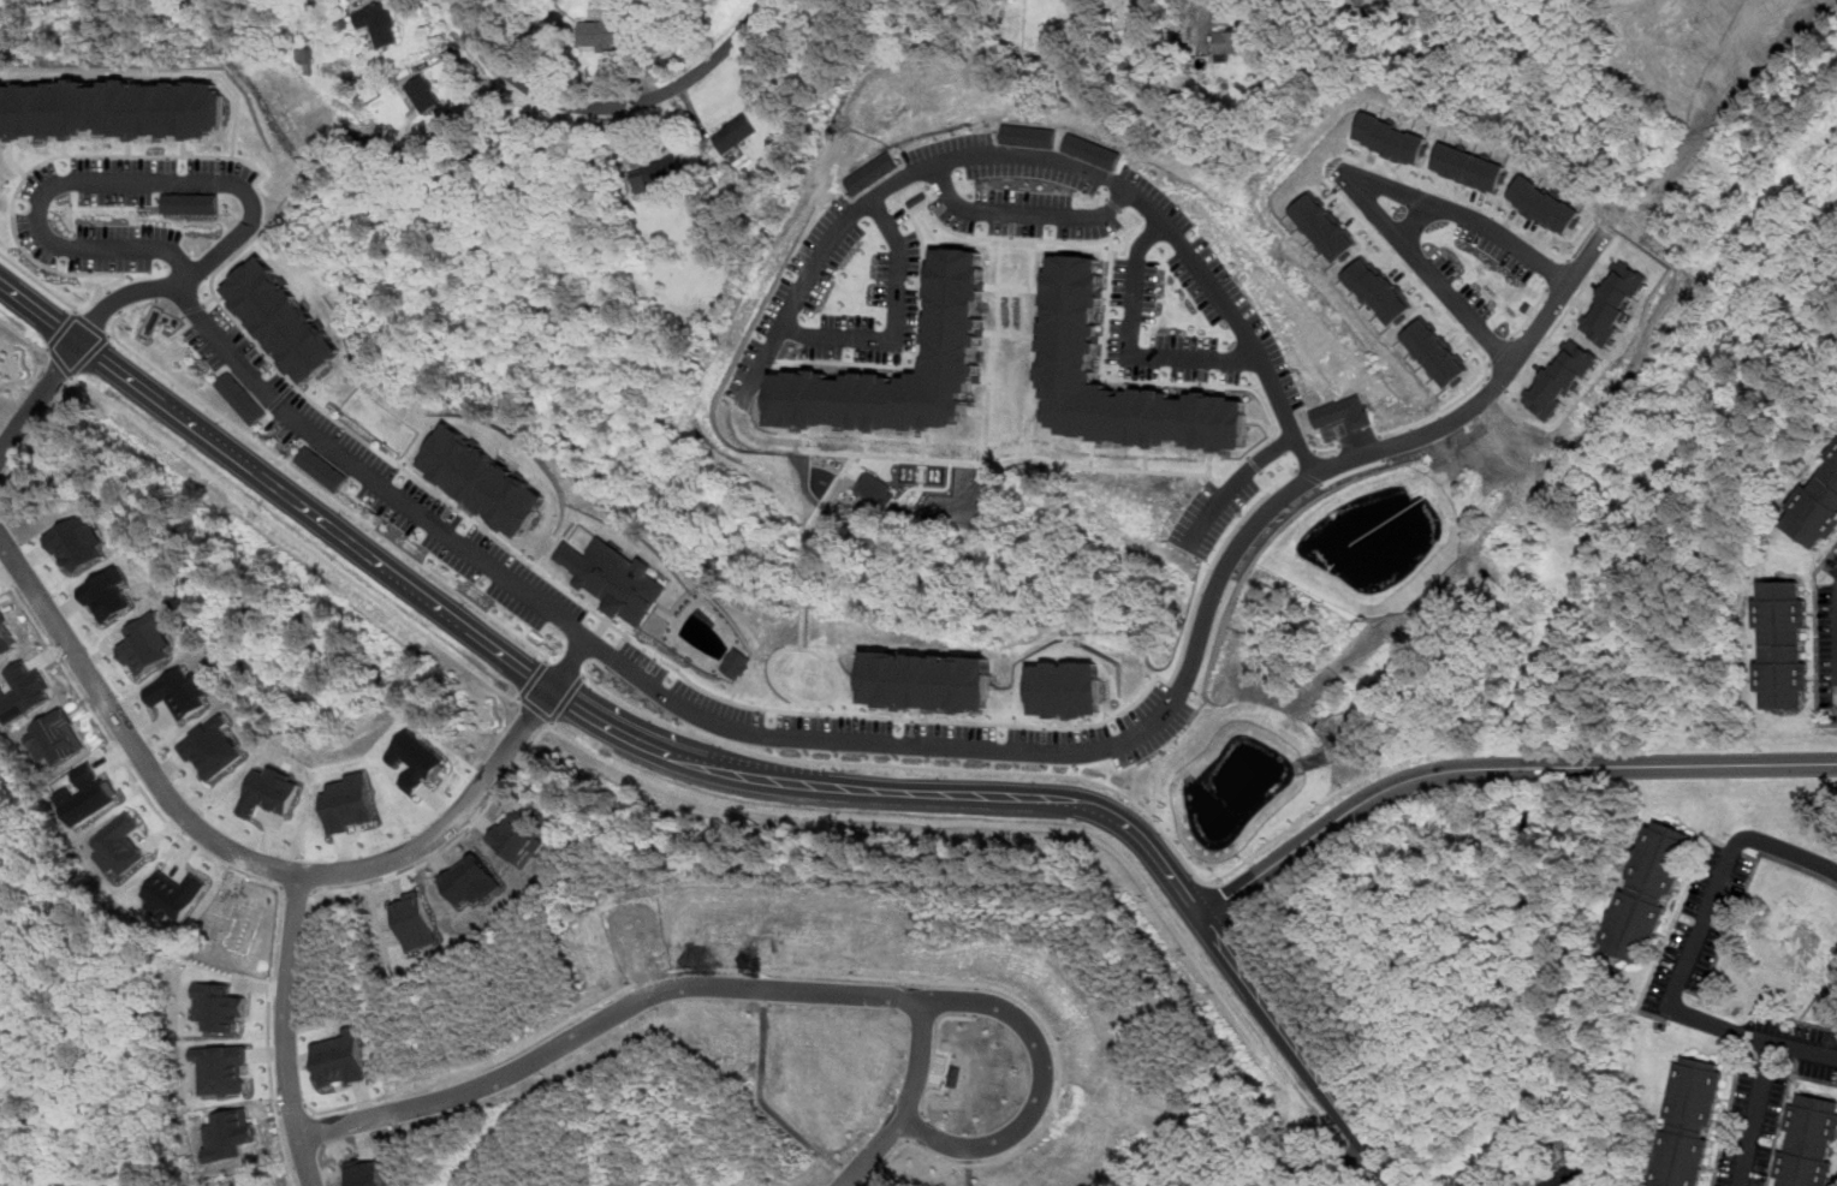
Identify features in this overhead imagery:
road: (1202, 8)
building: (379, 22)
building: (611, 30)
building: (1232, 42)
building: (423, 91)
road: (608, 105)
building: (113, 108)
road: (1718, 112)
building: (735, 132)
building: (1028, 133)
building: (1389, 136)
building: (1092, 149)
road: (1042, 156)
building: (1469, 165)
building: (656, 169)
building: (872, 173)
building: (192, 201)
building: (1544, 203)
road: (1023, 213)
road: (1466, 215)
road: (1414, 219)
building: (1324, 226)
road: (1423, 268)
road: (40, 280)
building: (1378, 290)
building: (1615, 300)
building: (285, 316)
road: (896, 321)
road: (91, 324)
road: (59, 326)
building: (955, 329)
road: (19, 332)
road: (111, 333)
road: (1130, 347)
building: (1434, 351)
road: (96, 358)
road: (58, 359)
building: (1071, 359)
building: (1562, 376)
road: (40, 395)
building: (240, 395)
road: (307, 404)
building: (1344, 411)
building: (322, 466)
building: (484, 476)
road: (1235, 481)
building: (875, 488)
road: (328, 495)
building: (1818, 509)
road: (298, 538)
building: (79, 543)
building: (613, 576)
building: (111, 594)
building: (1, 615)
road: (1817, 639)
building: (1785, 640)
building: (5, 642)
building: (148, 645)
building: (738, 661)
road: (569, 666)
road: (624, 666)
road: (528, 672)
road: (584, 673)
road: (533, 680)
building: (927, 683)
building: (182, 689)
building: (1066, 690)
building: (23, 691)
road: (566, 697)
road: (535, 711)
road: (553, 726)
building: (55, 737)
building: (213, 745)
building: (416, 759)
road: (1497, 764)
road: (1007, 770)
building: (271, 791)
building: (91, 797)
building: (351, 803)
road: (959, 822)
building: (516, 833)
building: (120, 841)
road: (237, 859)
road: (1173, 876)
building: (468, 877)
building: (1649, 890)
building: (174, 893)
building: (410, 918)
building: (698, 923)
building: (239, 924)
building: (759, 924)
building: (831, 926)
building: (344, 935)
park: (1797, 942)
road: (1689, 953)
road: (774, 991)
building: (221, 1007)
road: (290, 1035)
road: (1298, 1049)
building: (340, 1055)
building: (226, 1068)
parking lot: (939, 1068)
building: (955, 1073)
road: (914, 1102)
road: (1750, 1113)
building: (1690, 1126)
building: (227, 1132)
building: (1809, 1142)
road: (1312, 1168)
building: (365, 1174)
building: (1568, 1176)
building: (245, 1178)
building: (904, 1180)

